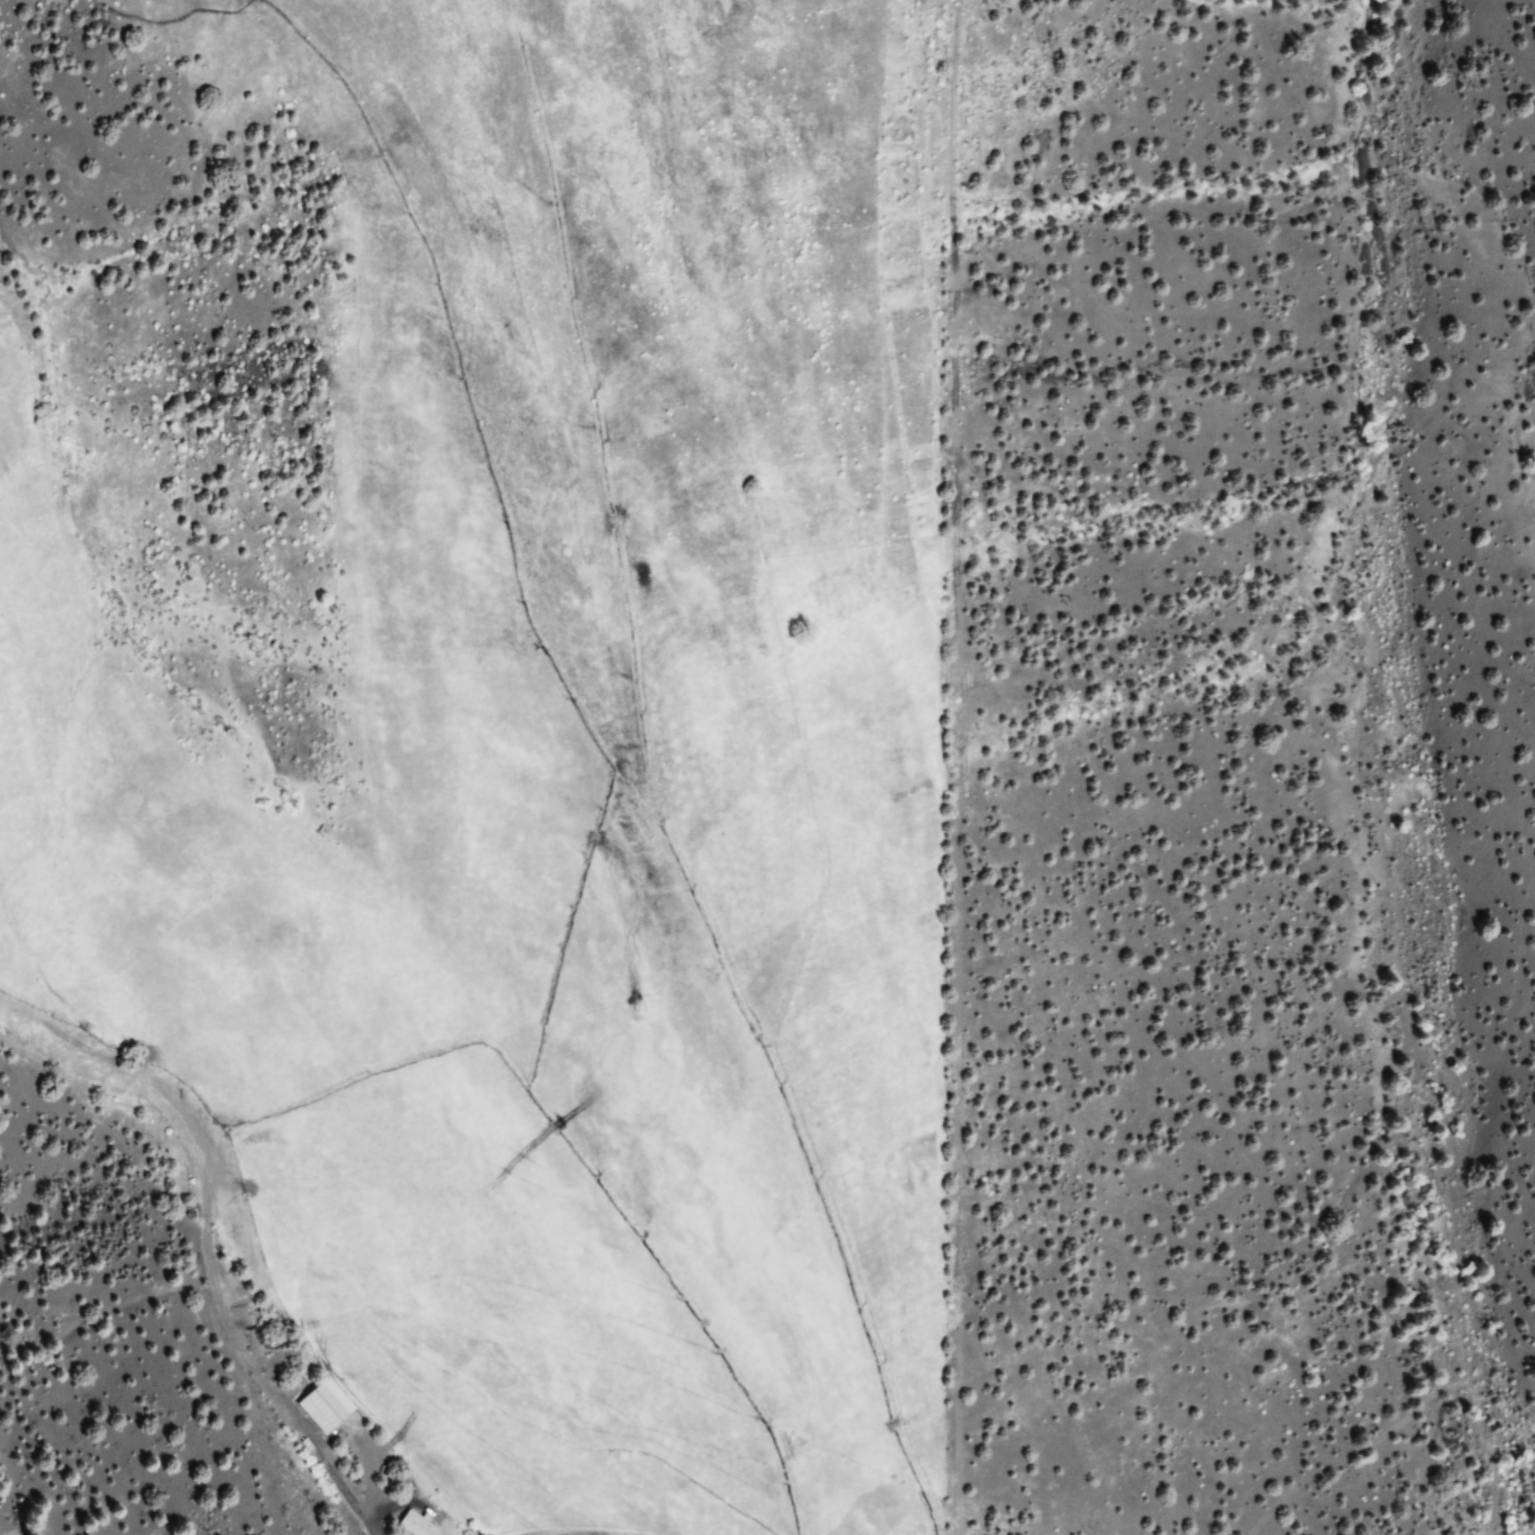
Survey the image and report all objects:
building: (324, 1405)

